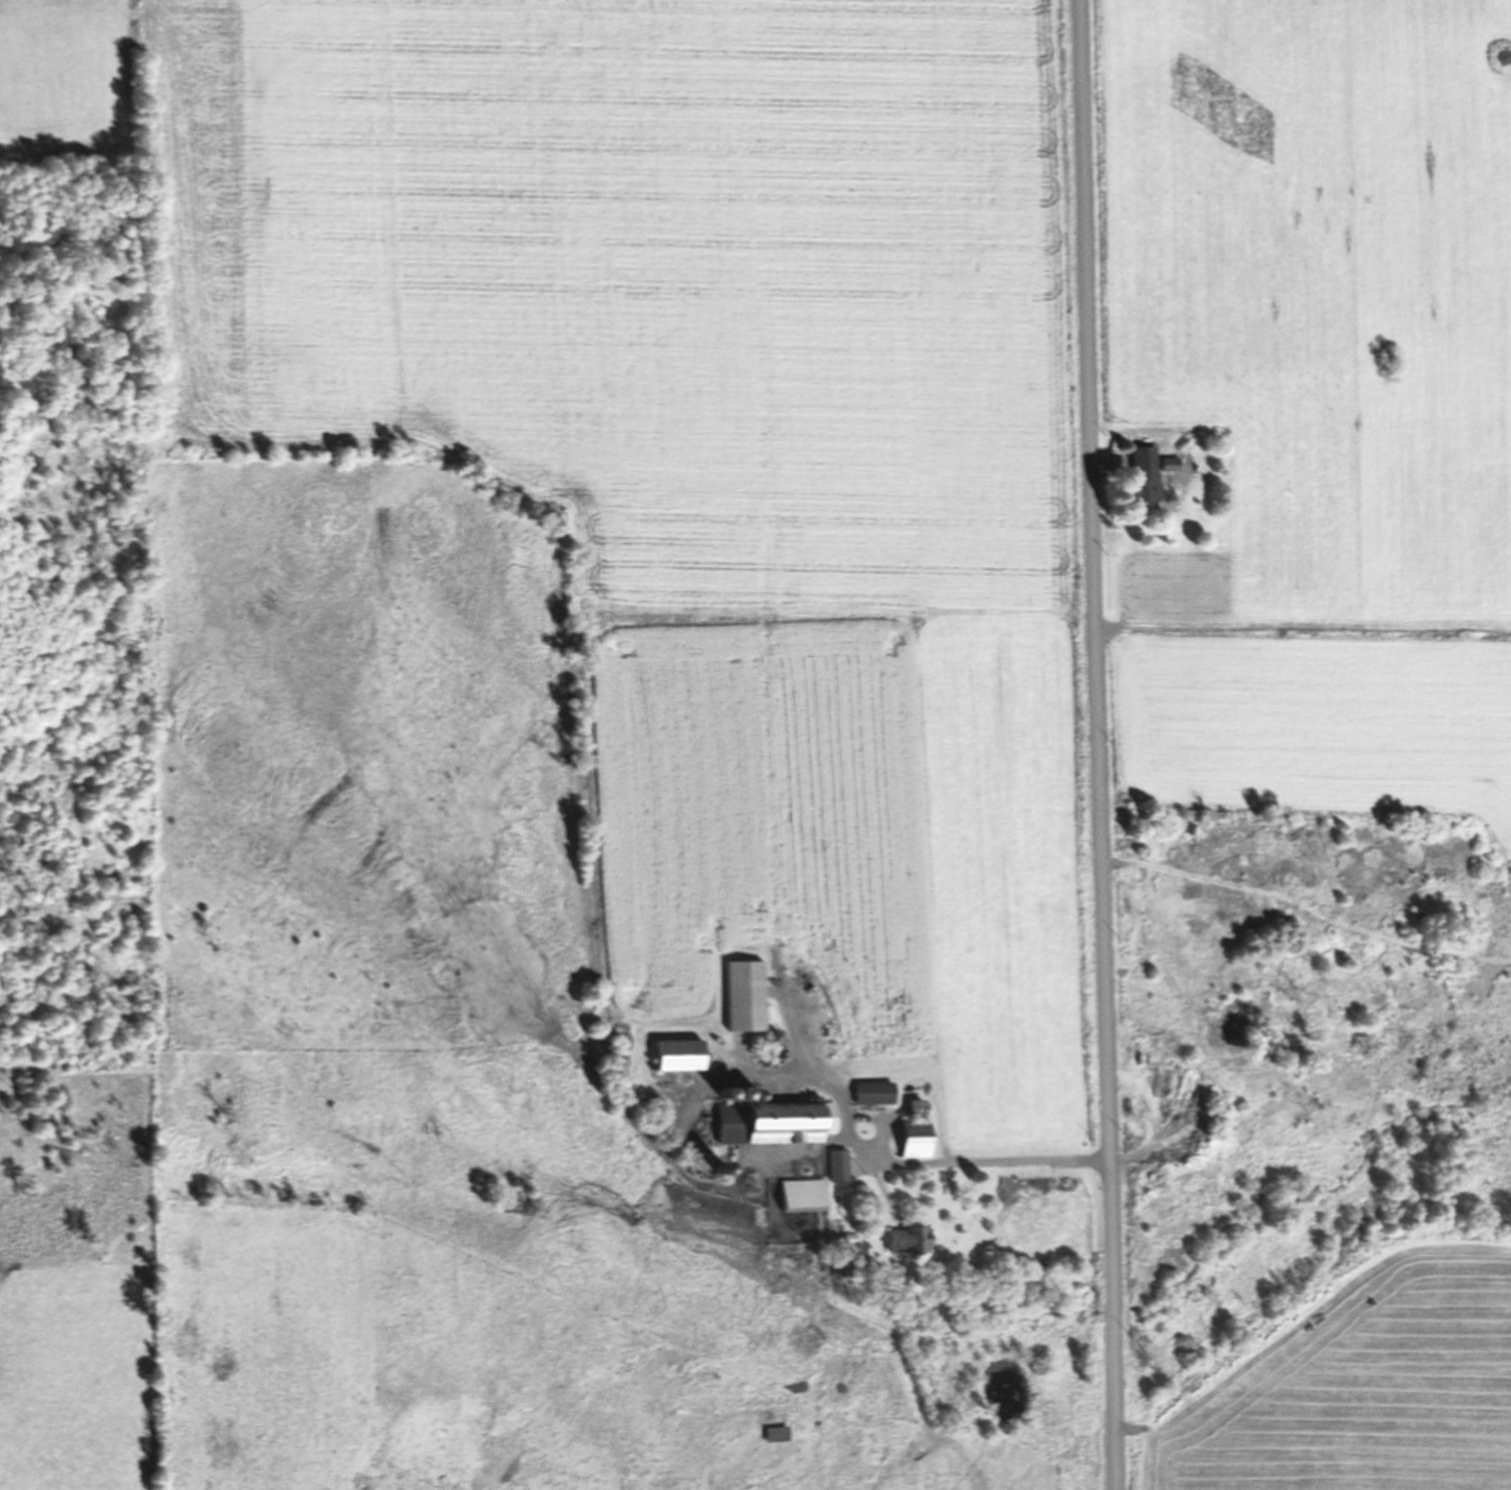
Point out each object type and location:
building: (1169, 464)
building: (1144, 491)
road: (1095, 745)
building: (744, 995)
building: (678, 1054)
building: (873, 1092)
building: (1158, 1100)
building: (1177, 1101)
building: (915, 1106)
building: (773, 1121)
building: (914, 1136)
building: (836, 1165)
building: (801, 1193)
building: (906, 1239)
building: (775, 1434)

